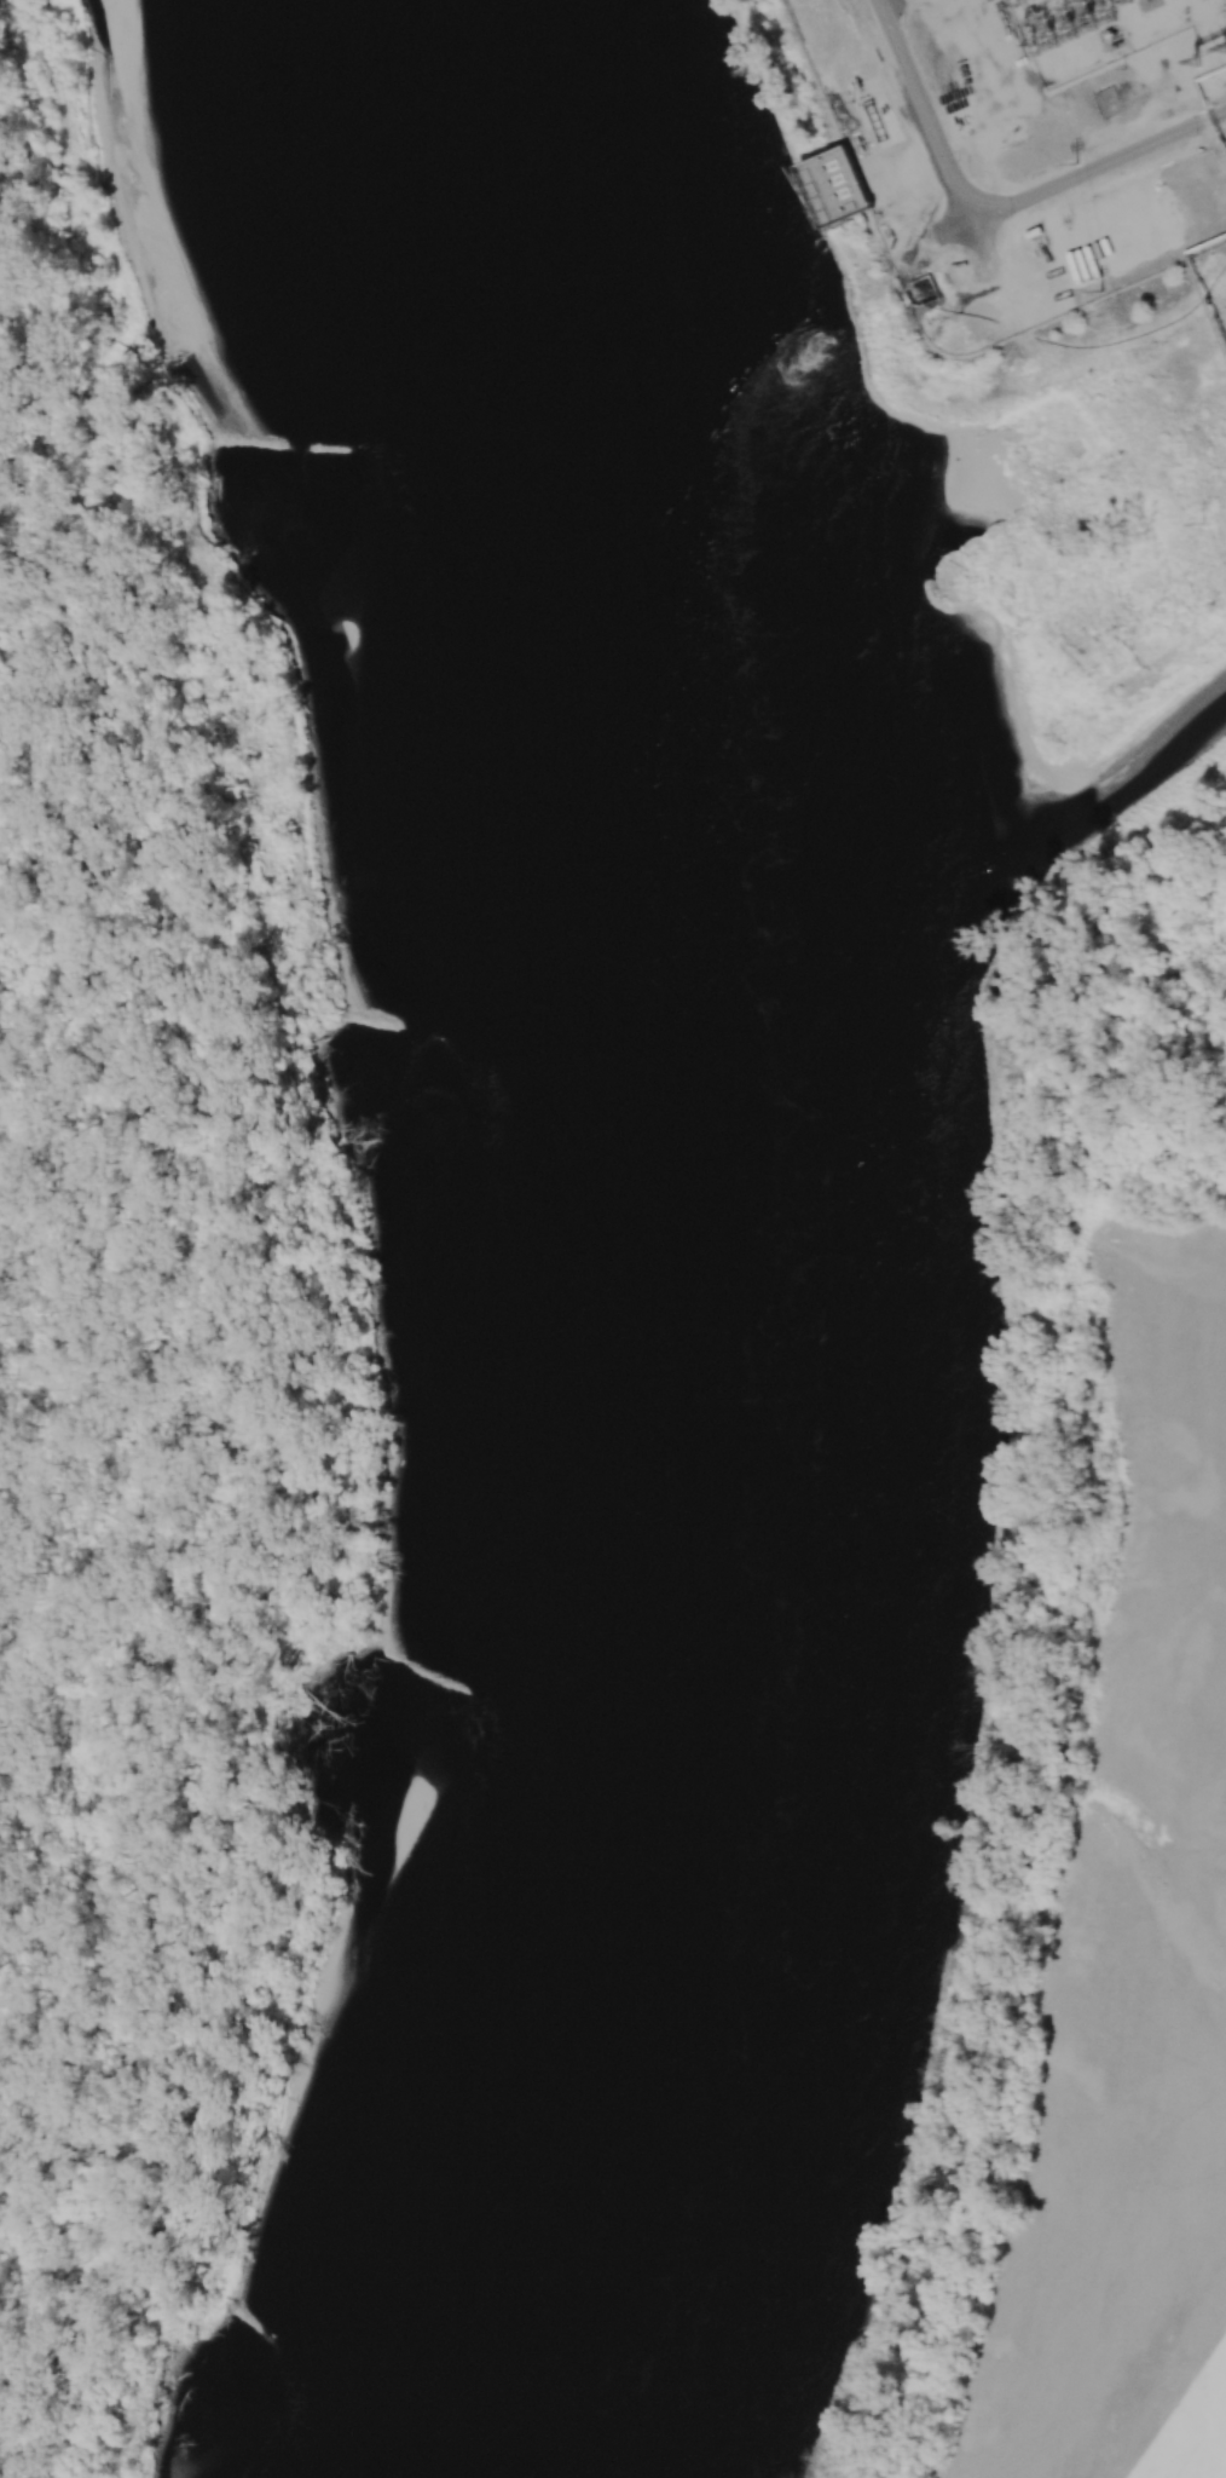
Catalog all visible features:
power substation: (1103, 31)
power tower: (1221, 53)
road: (926, 111)
power tower: (1076, 162)
road: (1082, 173)
building: (837, 183)
power plant: (1059, 264)
power tower: (1104, 292)
power tower: (1203, 524)
river: (1121, 732)
river: (731, 1234)

